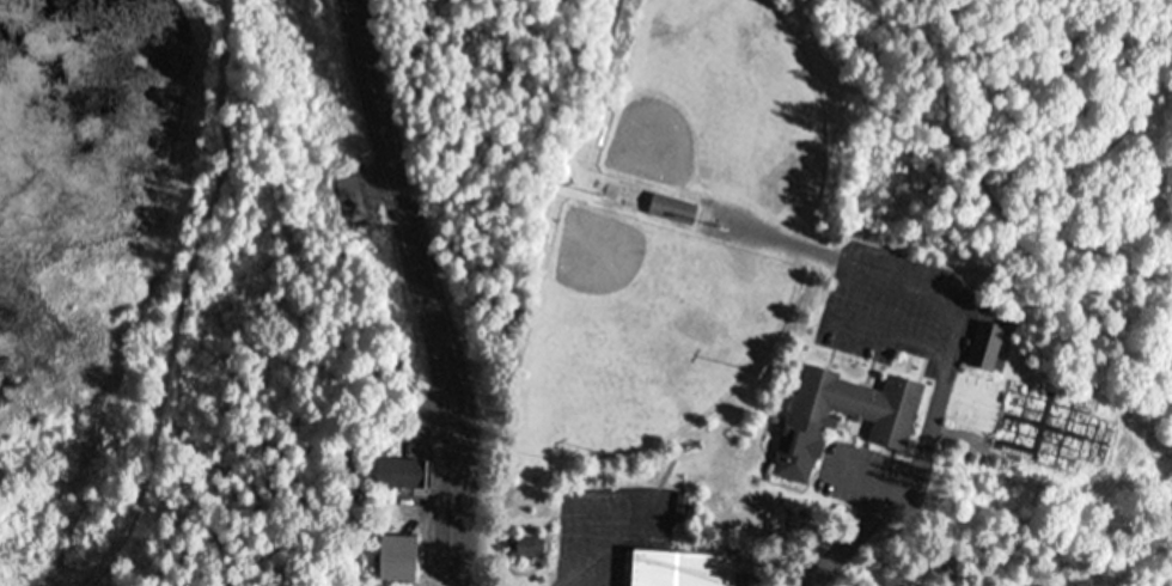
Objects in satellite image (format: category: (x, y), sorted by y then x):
road: (356, 24)
park: (720, 106)
road: (907, 282)
park: (801, 283)
parking lot: (898, 304)
road: (431, 313)
park: (642, 331)
road: (892, 334)
park: (250, 342)
building: (812, 423)
road: (918, 462)
road: (868, 476)
parking lot: (873, 477)
parking lot: (610, 531)
building: (685, 567)

